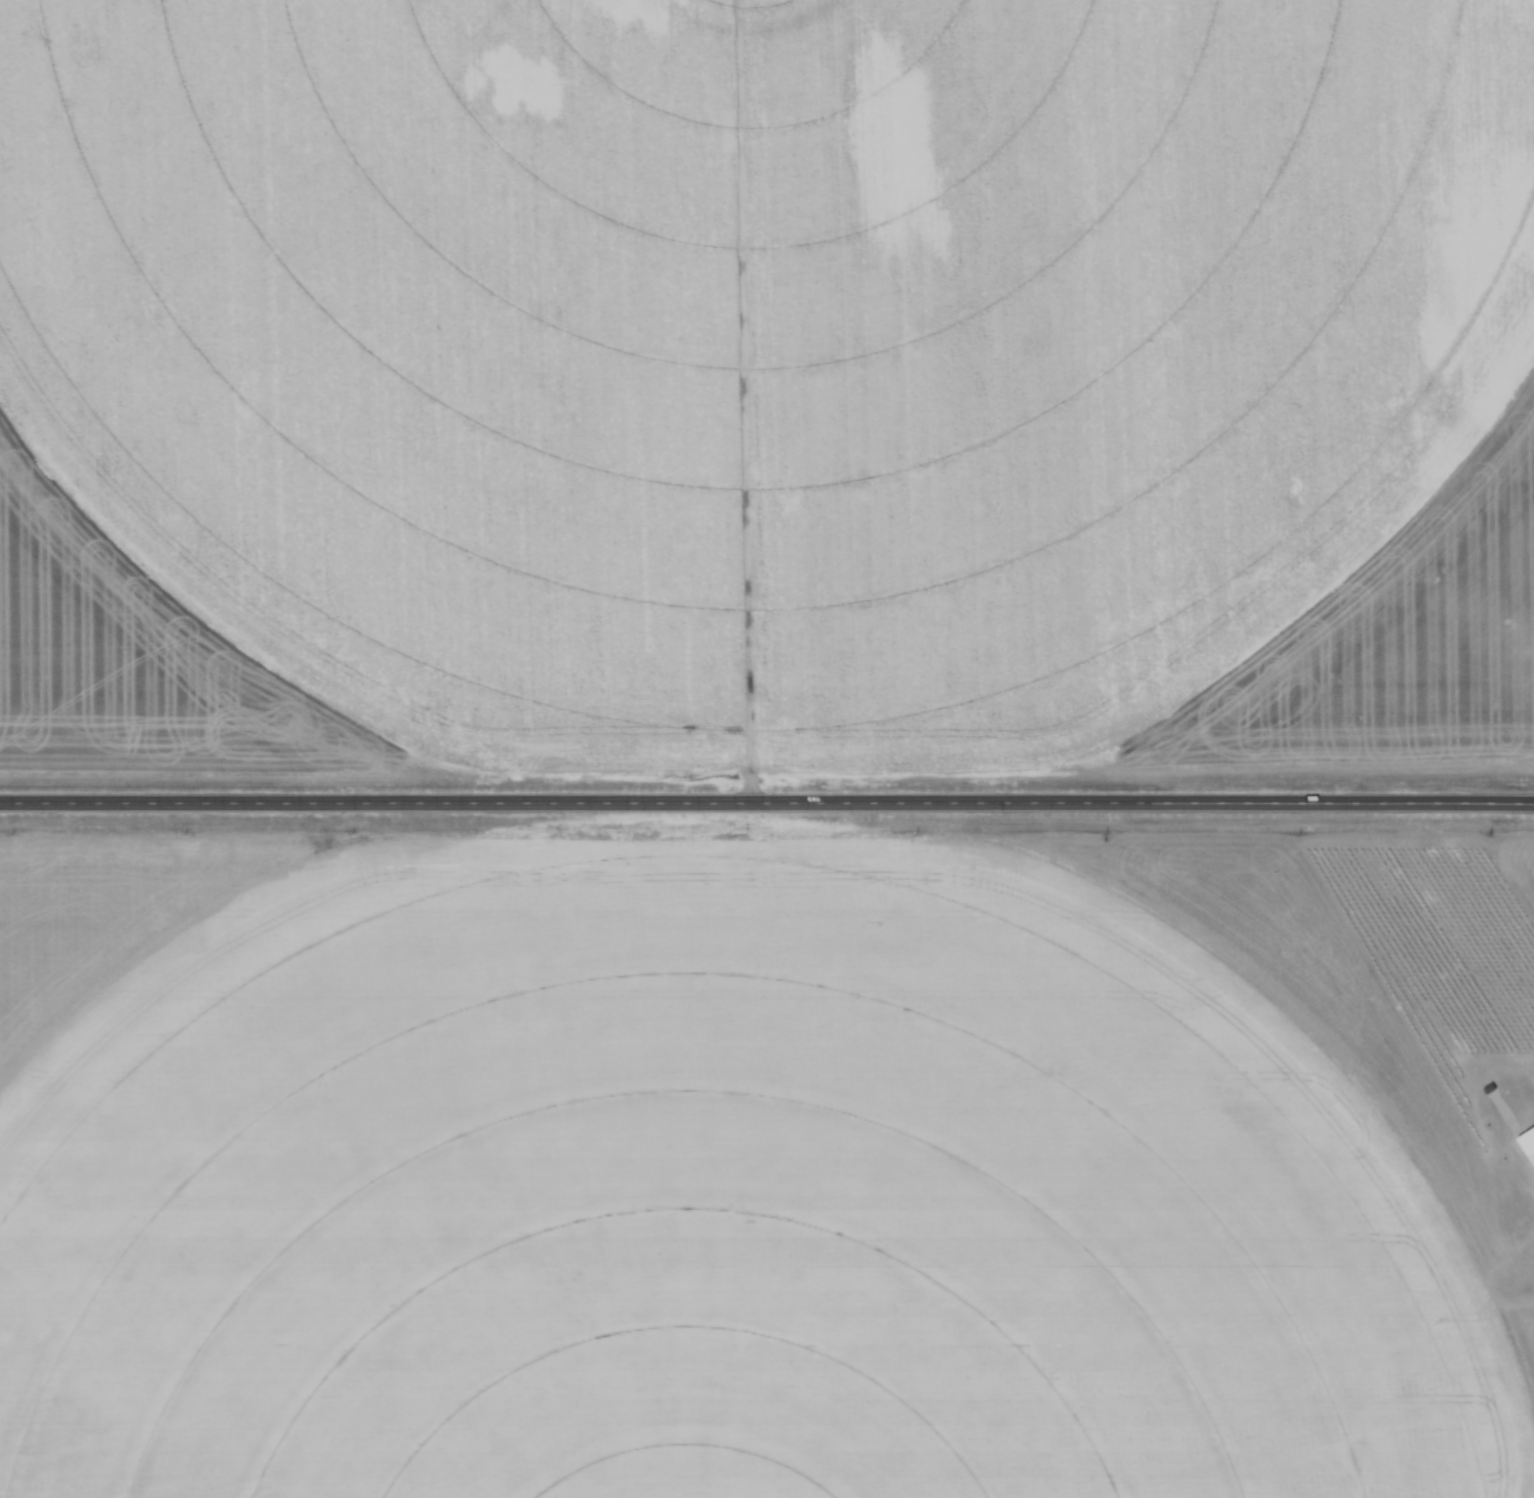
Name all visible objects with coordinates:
road: (767, 802)

